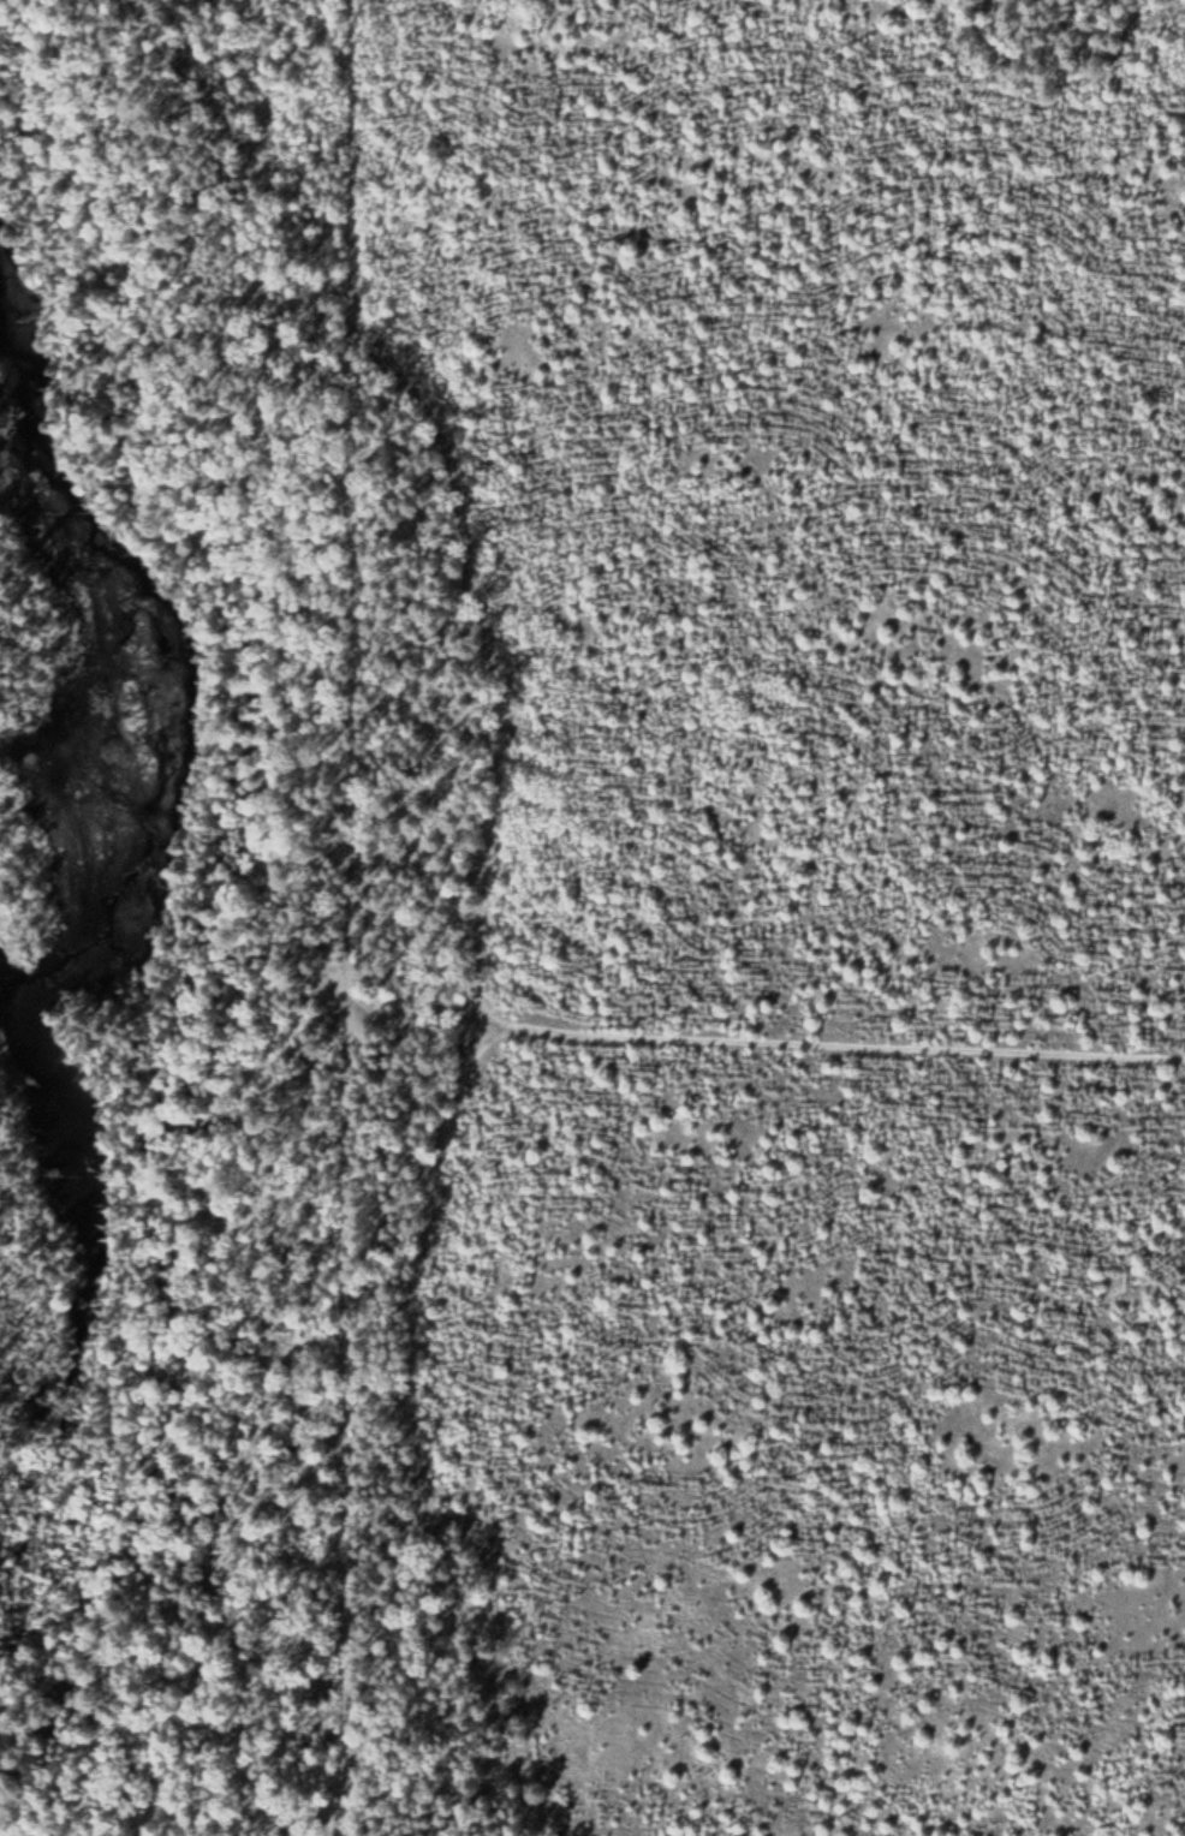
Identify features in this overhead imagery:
road: (474, 851)
road: (356, 918)
road: (762, 1033)
road: (428, 1764)
road: (309, 1811)

